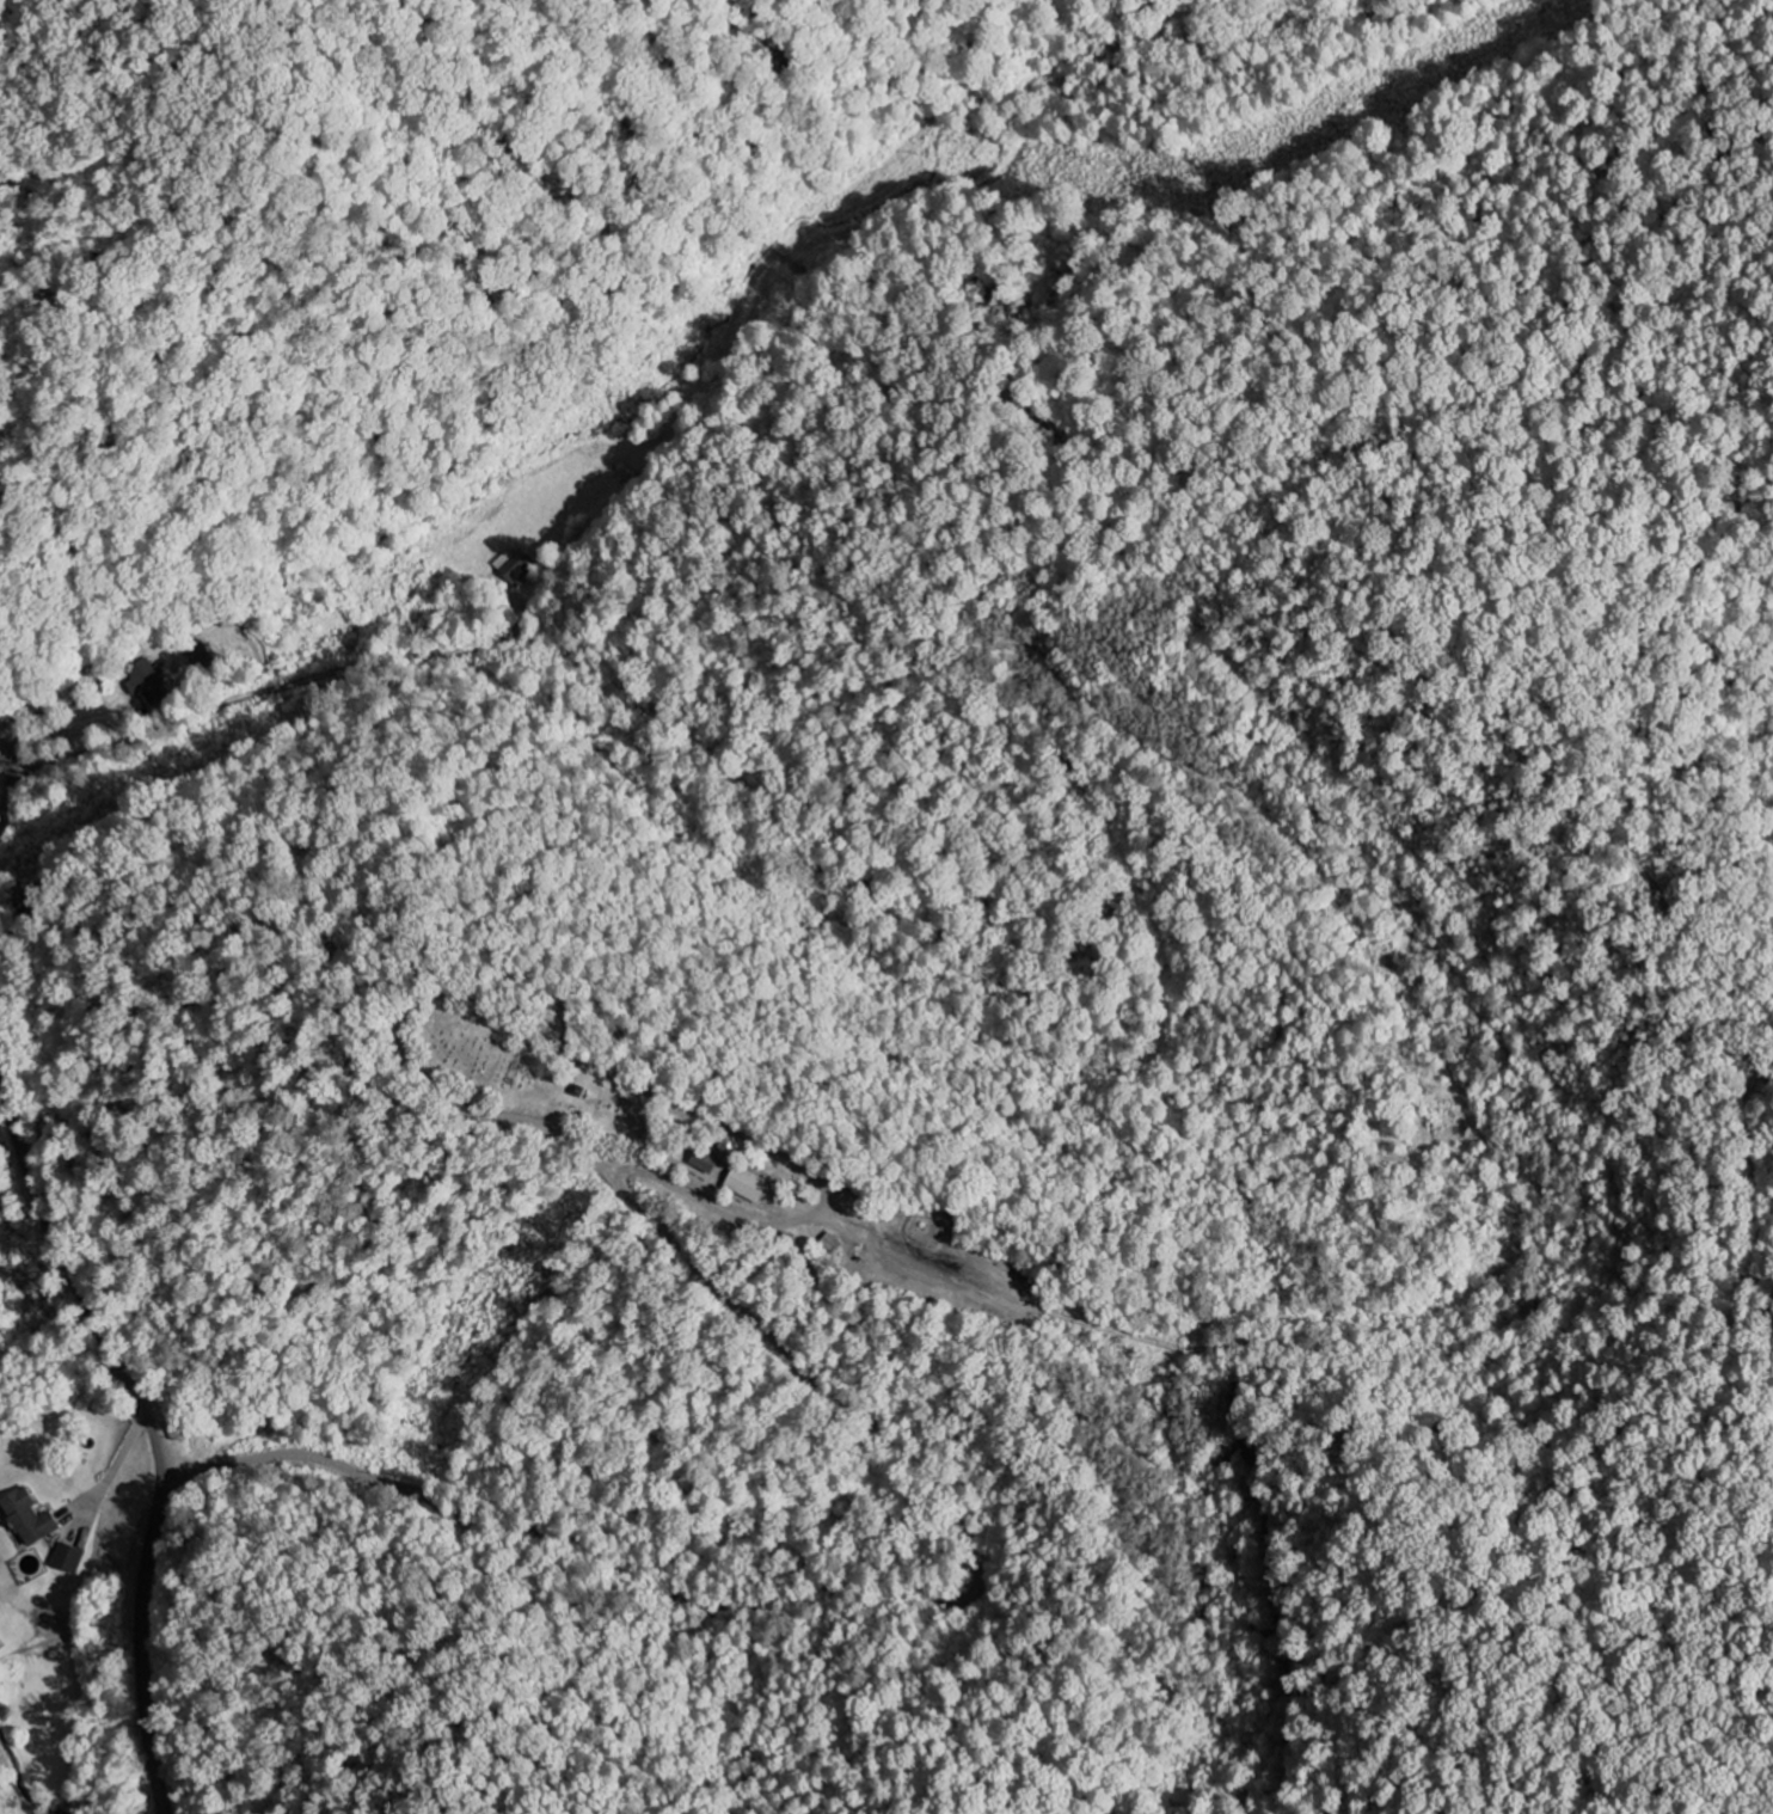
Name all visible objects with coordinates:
building: (514, 565)
building: (147, 684)
road: (6, 739)
road: (11, 783)
park: (544, 1083)
building: (704, 1163)
building: (747, 1185)
road: (152, 1428)
building: (27, 1516)
road: (986, 1545)
building: (66, 1558)

